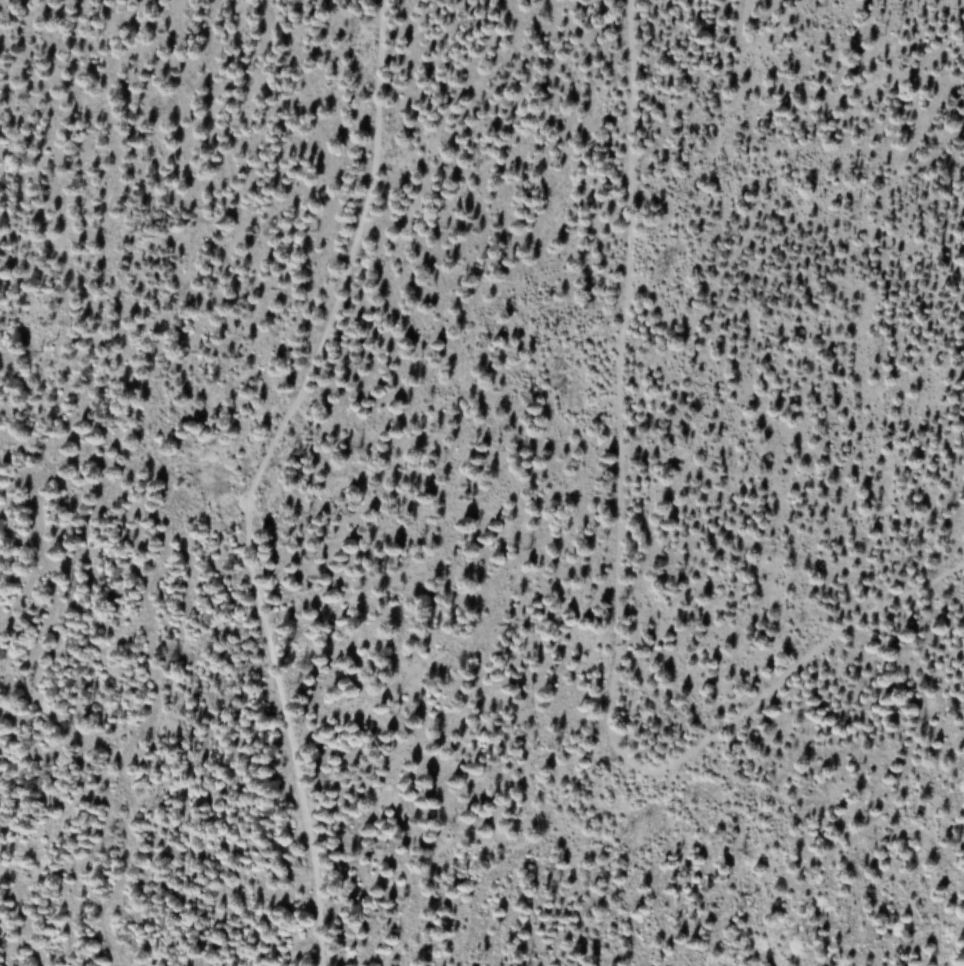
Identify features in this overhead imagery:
road: (258, 476)

